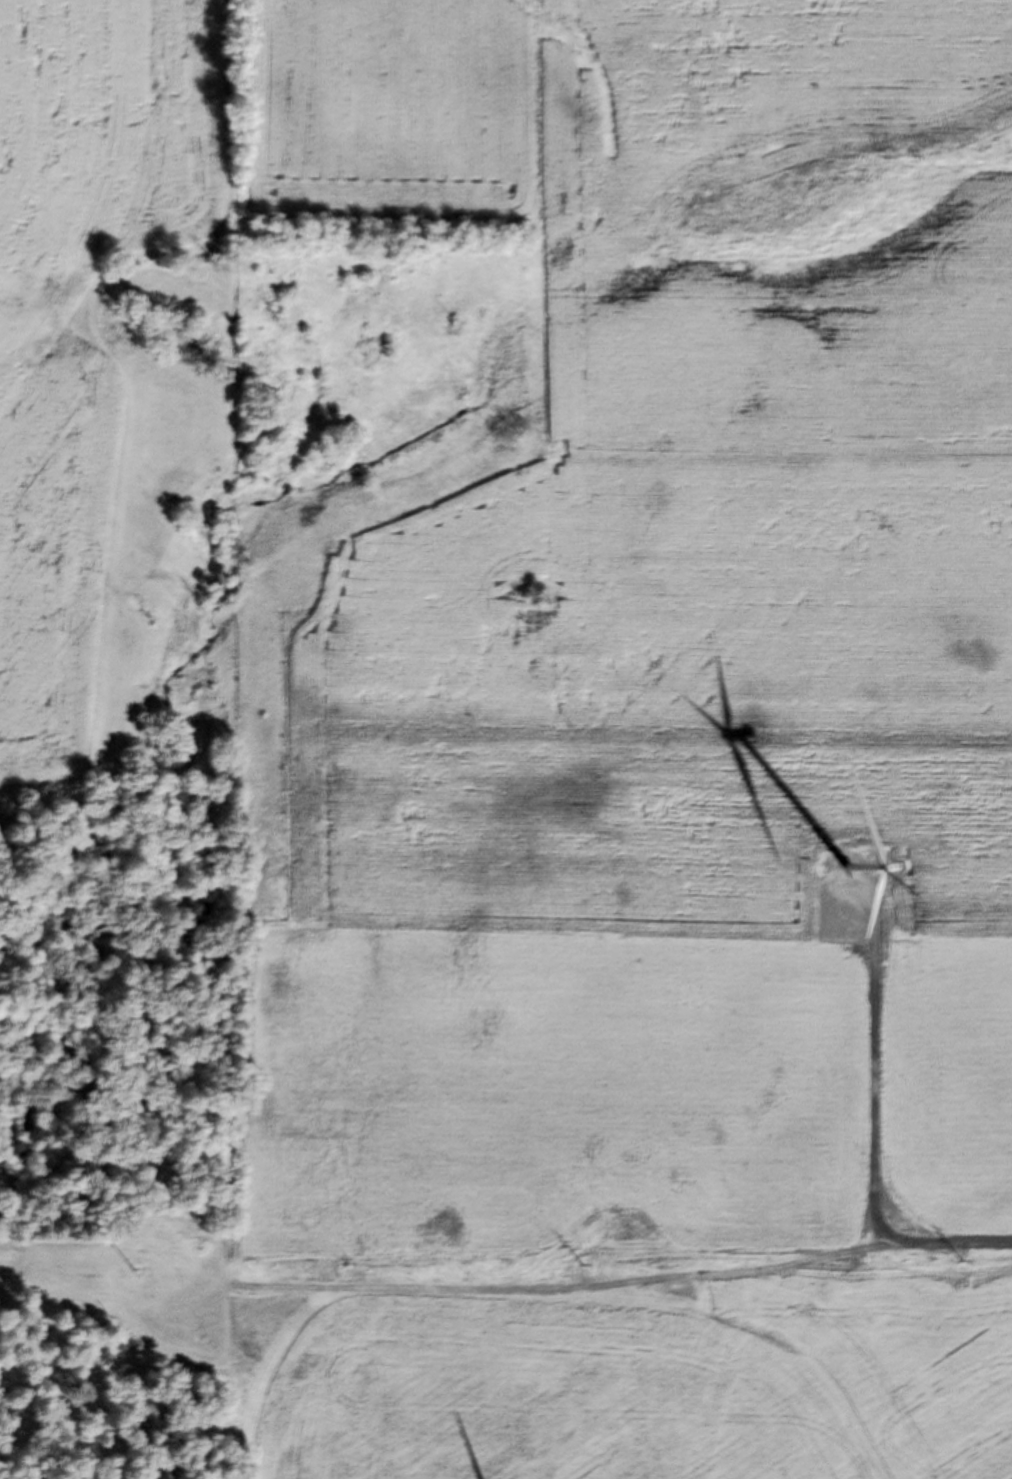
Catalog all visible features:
wind turbine: (845, 871)
building: (798, 919)
road: (870, 1090)

